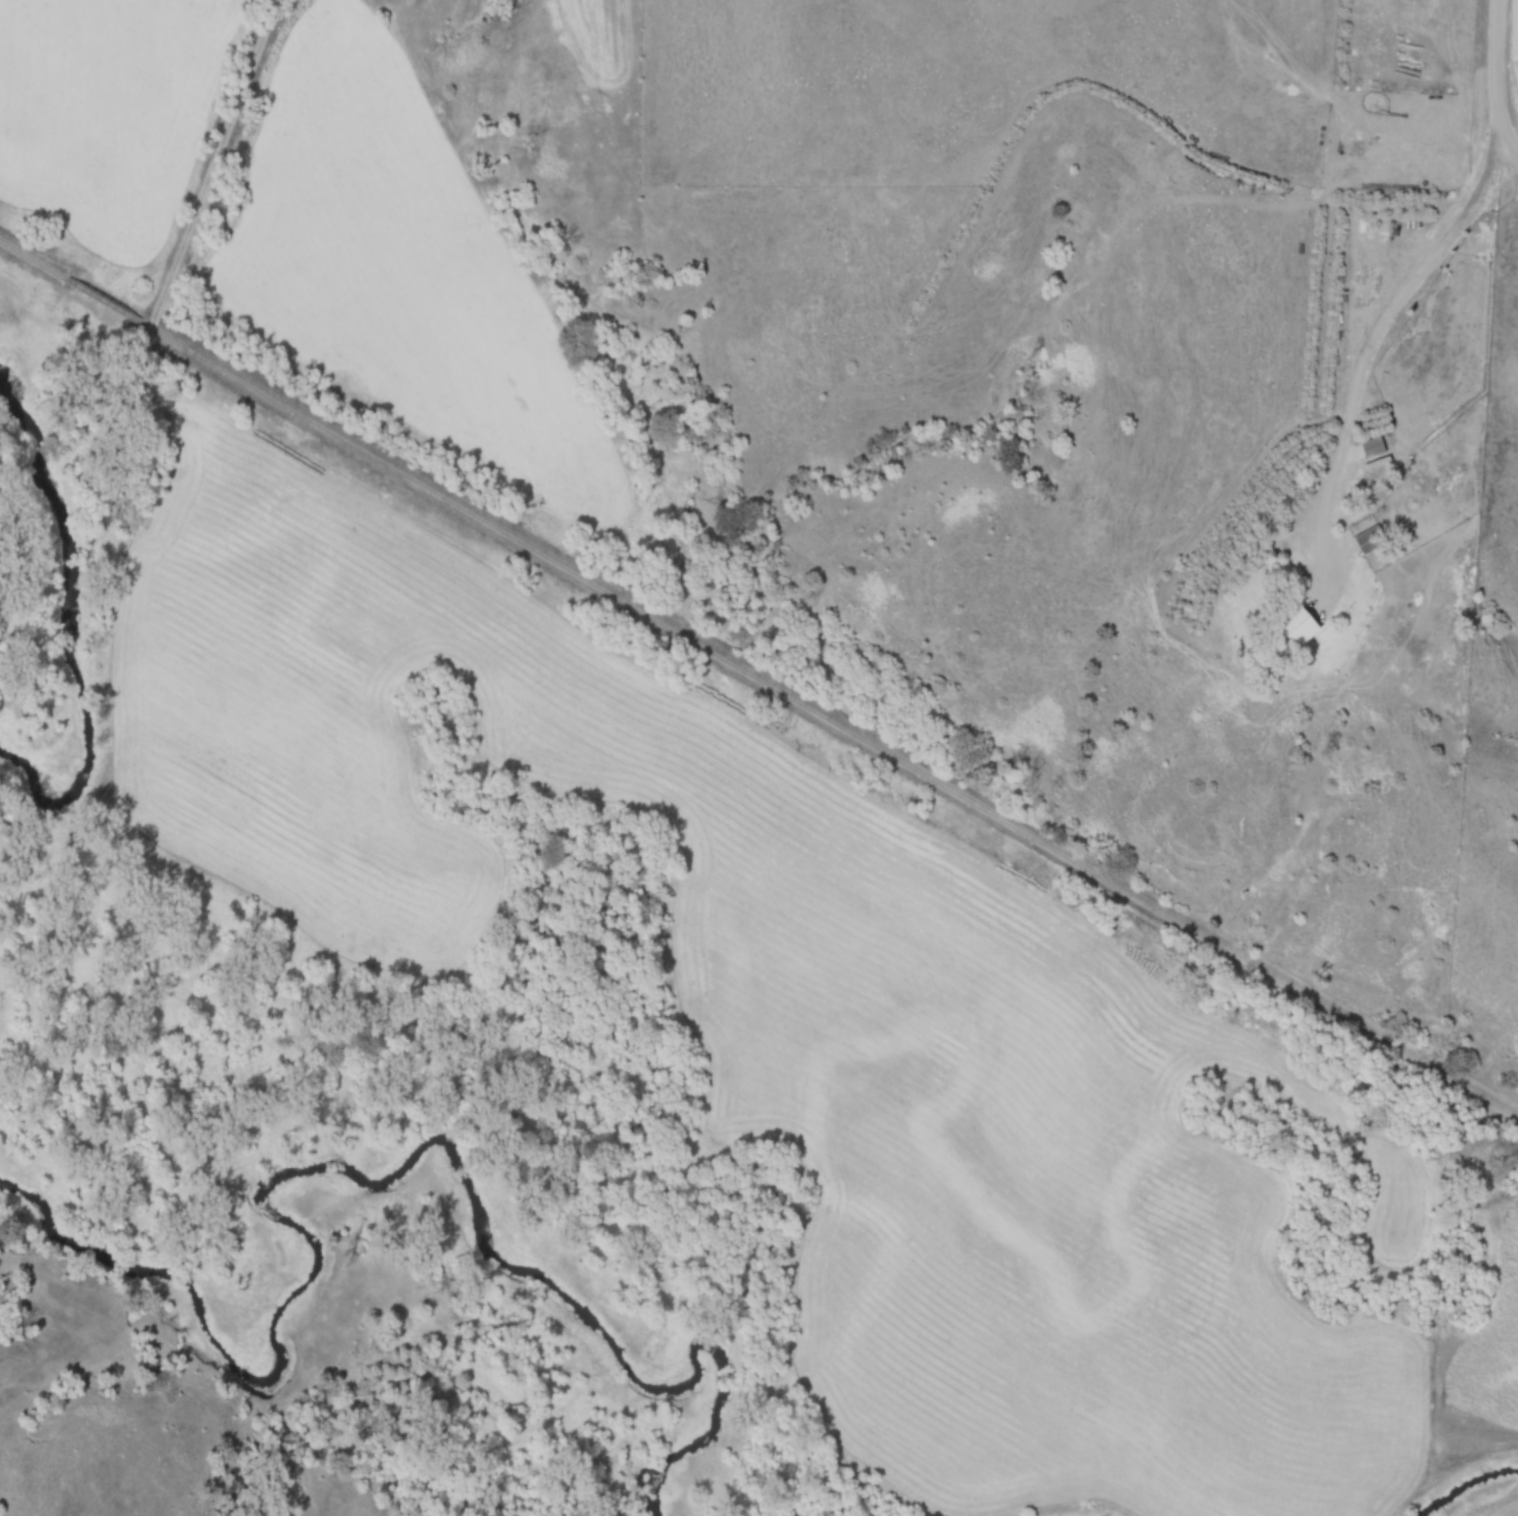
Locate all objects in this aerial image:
crop: (608, 37)
road: (1496, 80)
crop: (108, 110)
building: (1356, 247)
crop: (400, 266)
road: (1377, 330)
building: (1372, 448)
building: (1369, 540)
railway: (759, 673)

